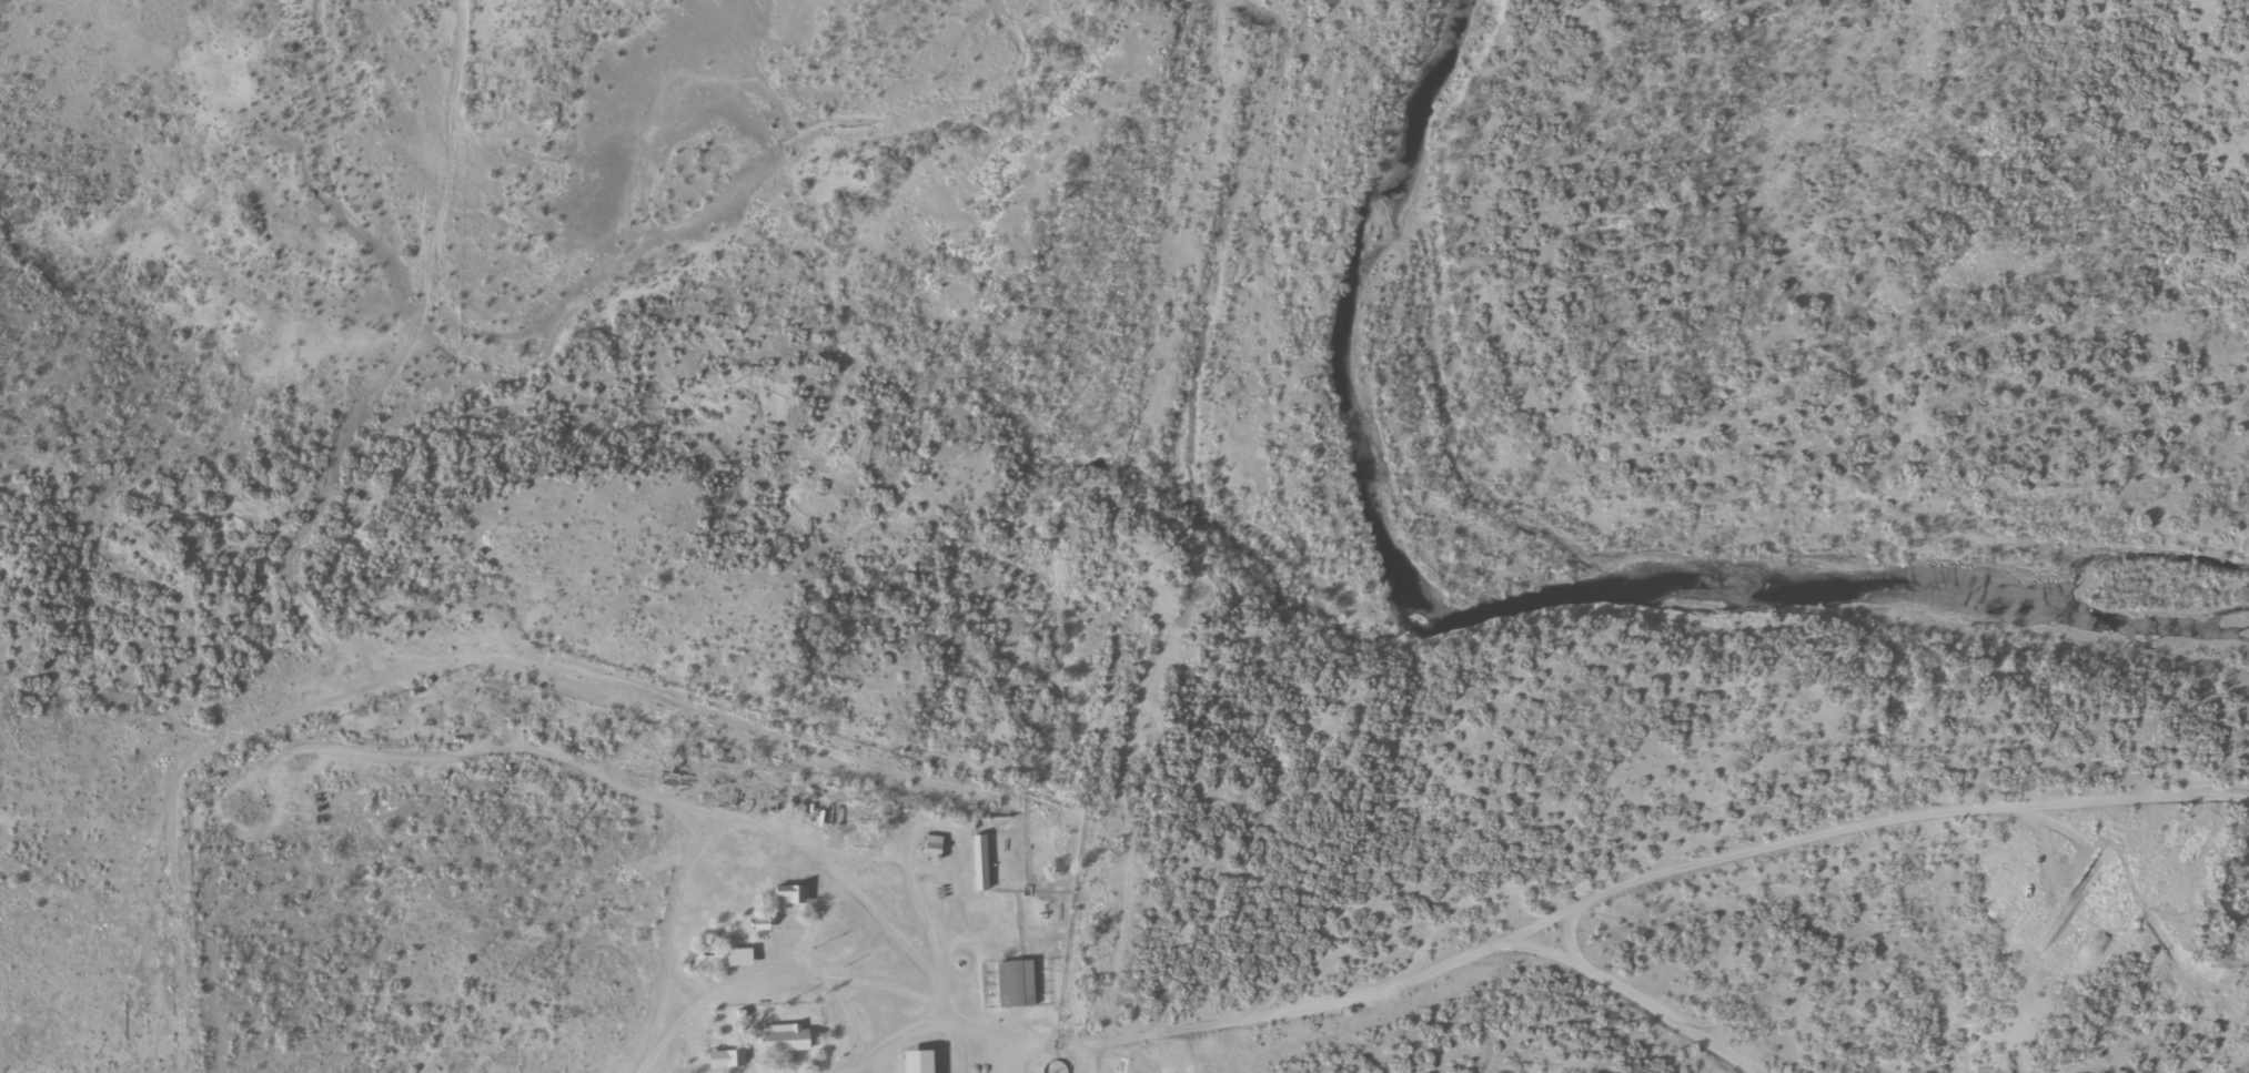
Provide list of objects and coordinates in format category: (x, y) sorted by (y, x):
road: (1933, 103)
river: (1549, 570)
road: (1656, 850)
building: (980, 862)
building: (791, 894)
building: (725, 959)
building: (1016, 984)
road: (1211, 1008)
building: (786, 1037)
building: (726, 1059)
road: (1070, 1059)
building: (917, 1061)

